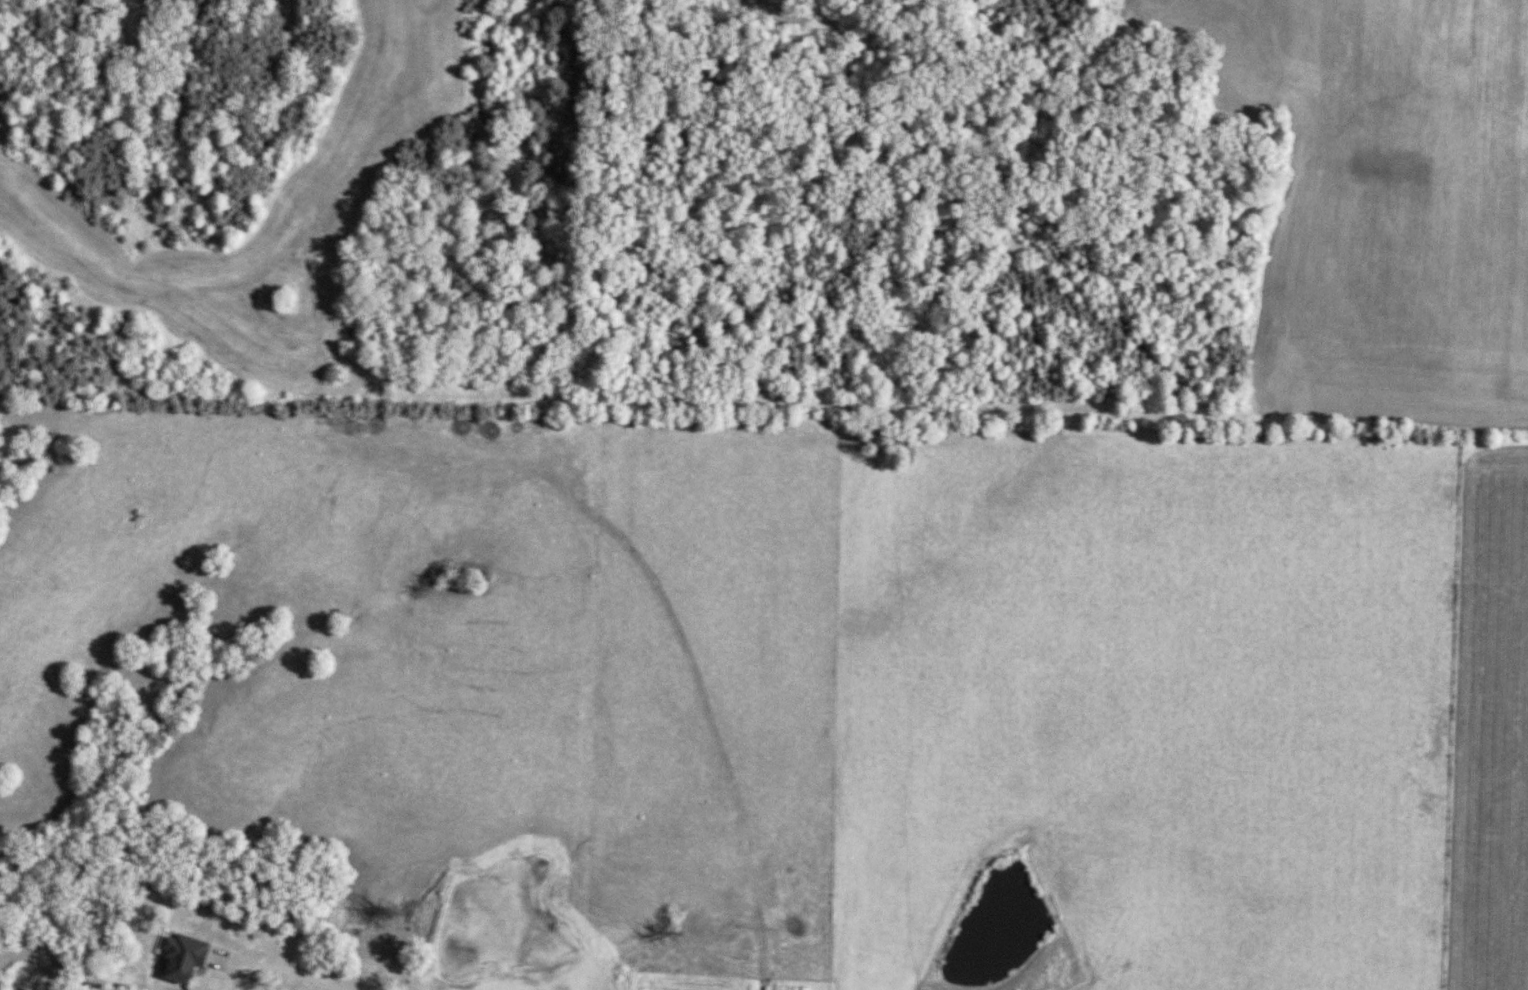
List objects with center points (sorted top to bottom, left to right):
road: (282, 969)

